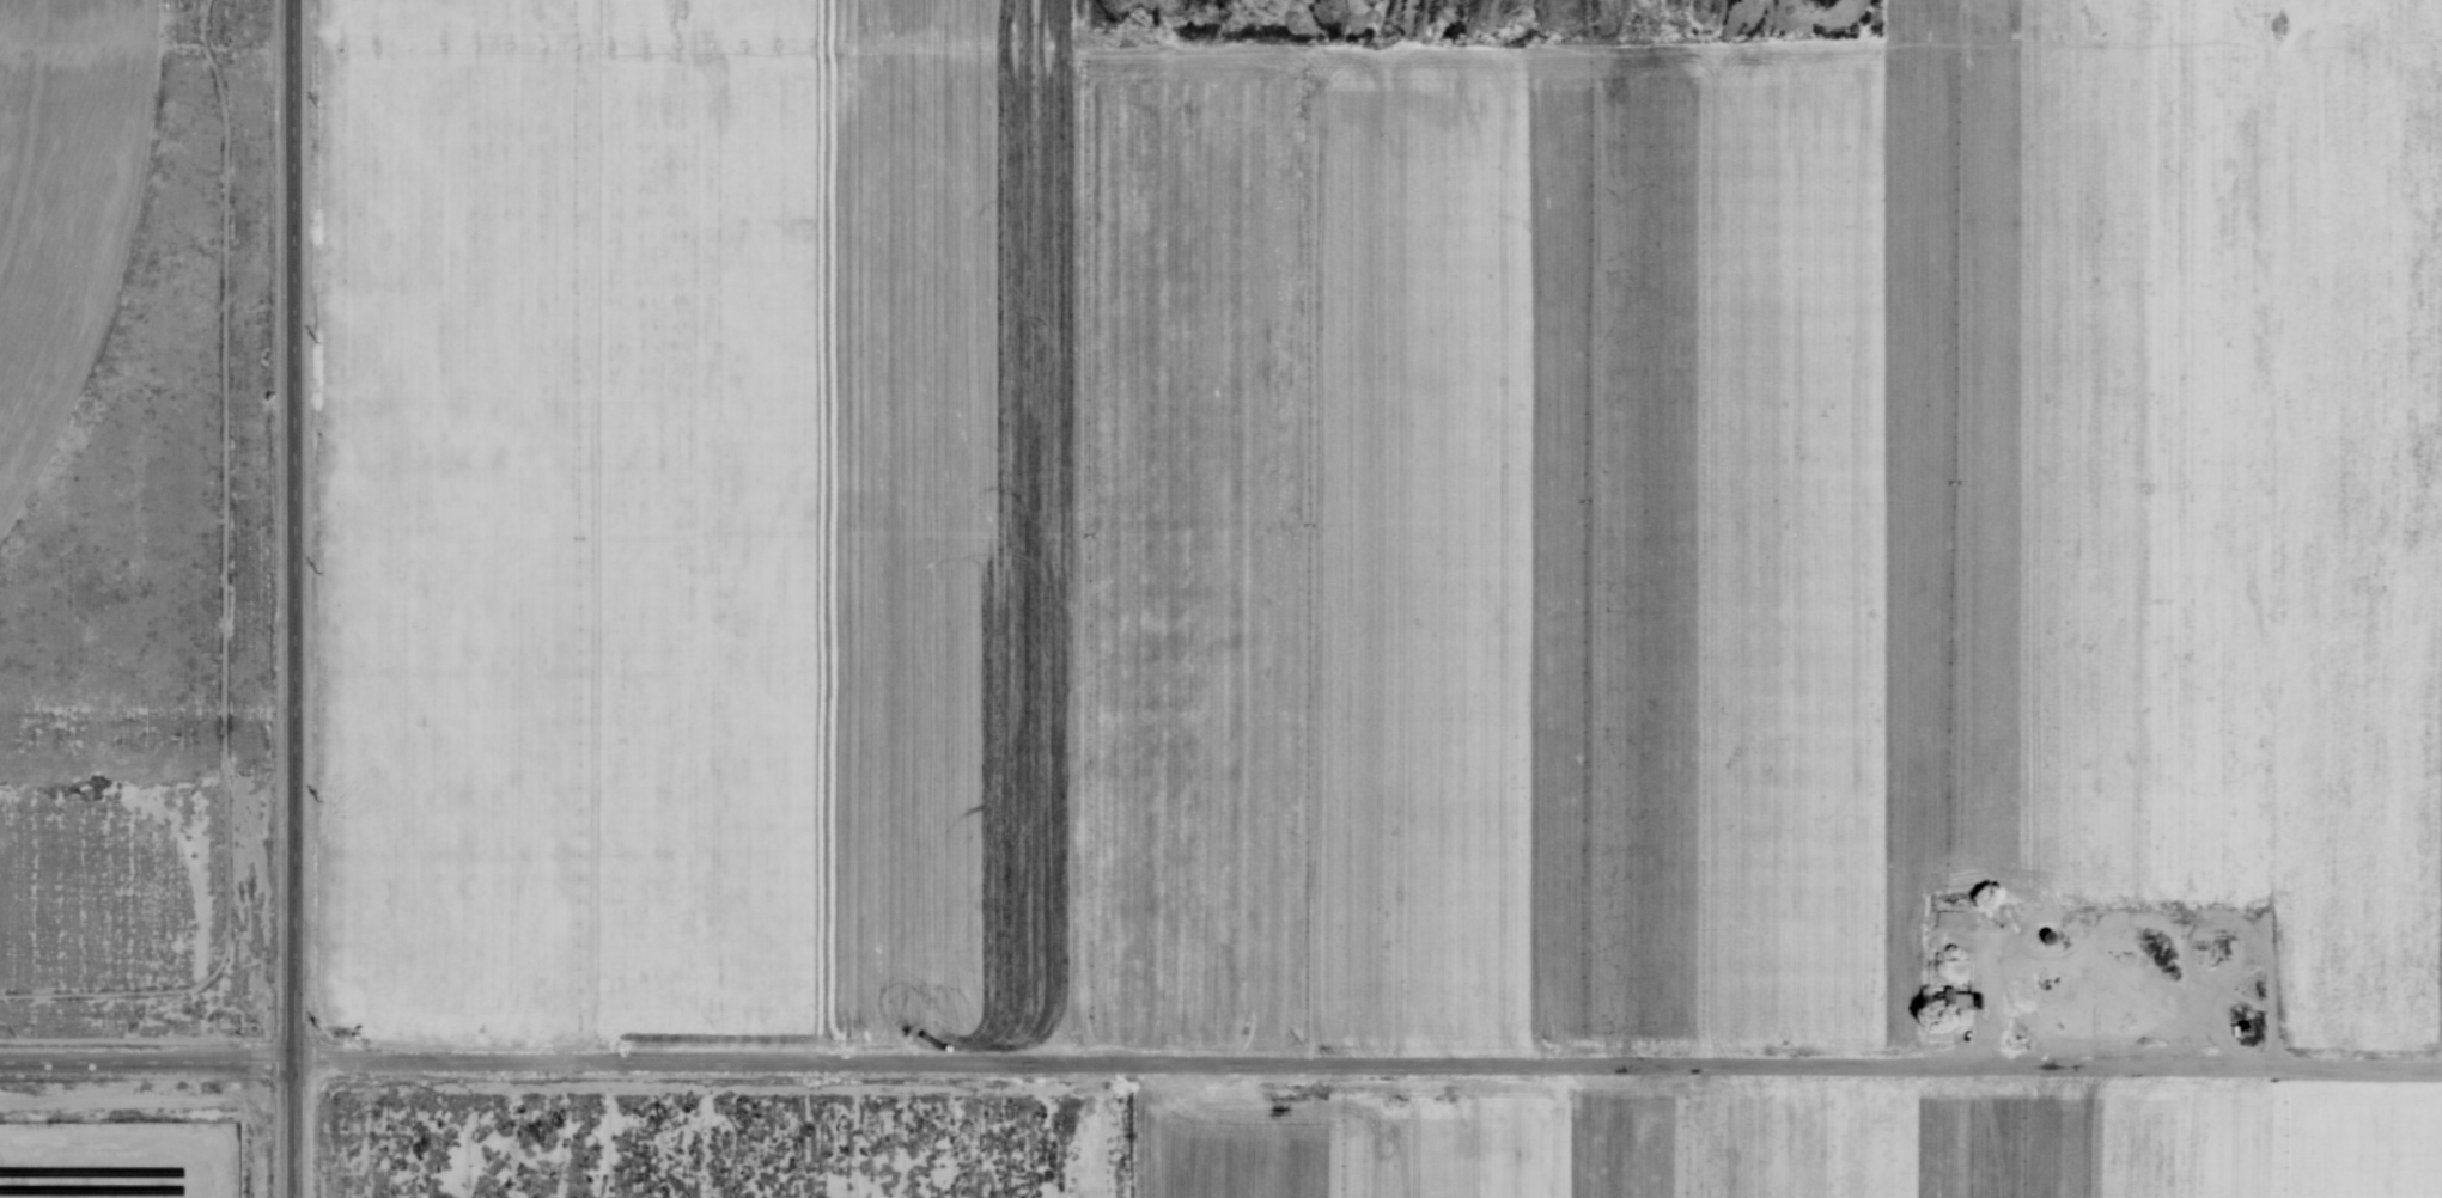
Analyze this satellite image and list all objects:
crop: (61, 202)
crop: (1338, 531)
road: (288, 598)
building: (1947, 1001)
road: (1364, 1068)
road: (142, 1069)
crop: (1782, 1143)
solar farm: (117, 1166)

